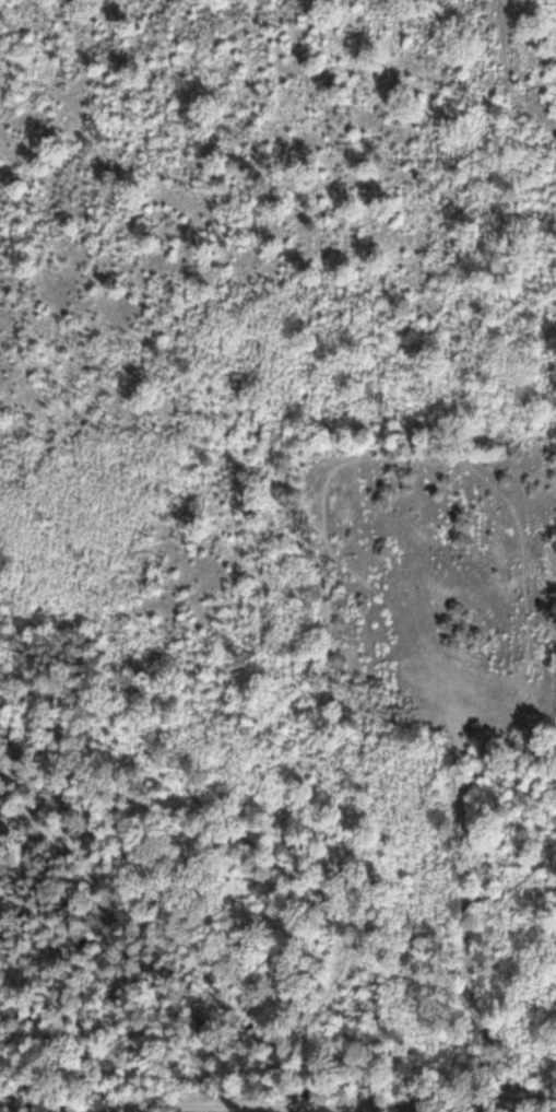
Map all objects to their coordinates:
road: (510, 73)
road: (73, 617)
road: (70, 660)
road: (269, 868)
road: (510, 880)
road: (465, 920)
road: (110, 1104)
road: (376, 1107)
road: (543, 1109)
road: (532, 1110)

